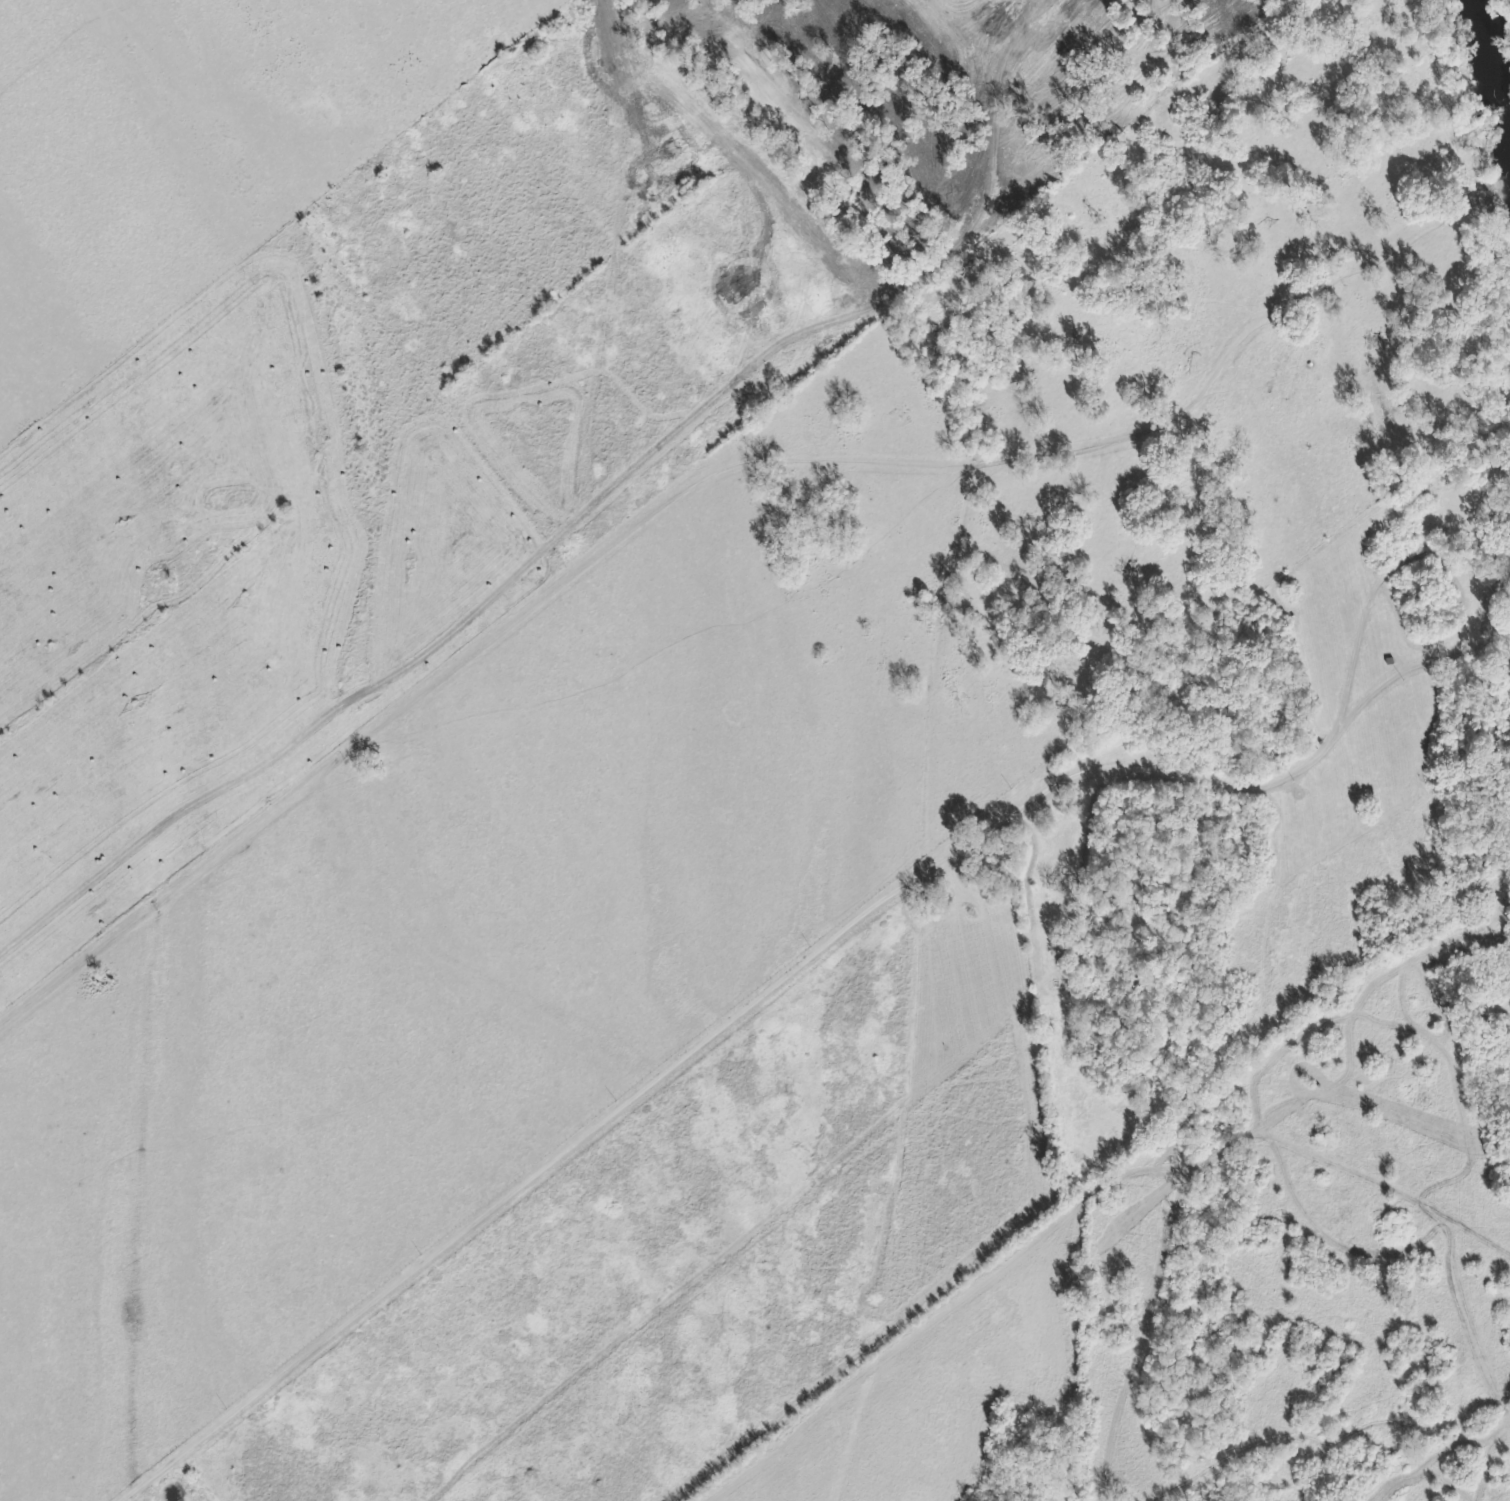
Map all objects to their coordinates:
river: (1499, 31)

